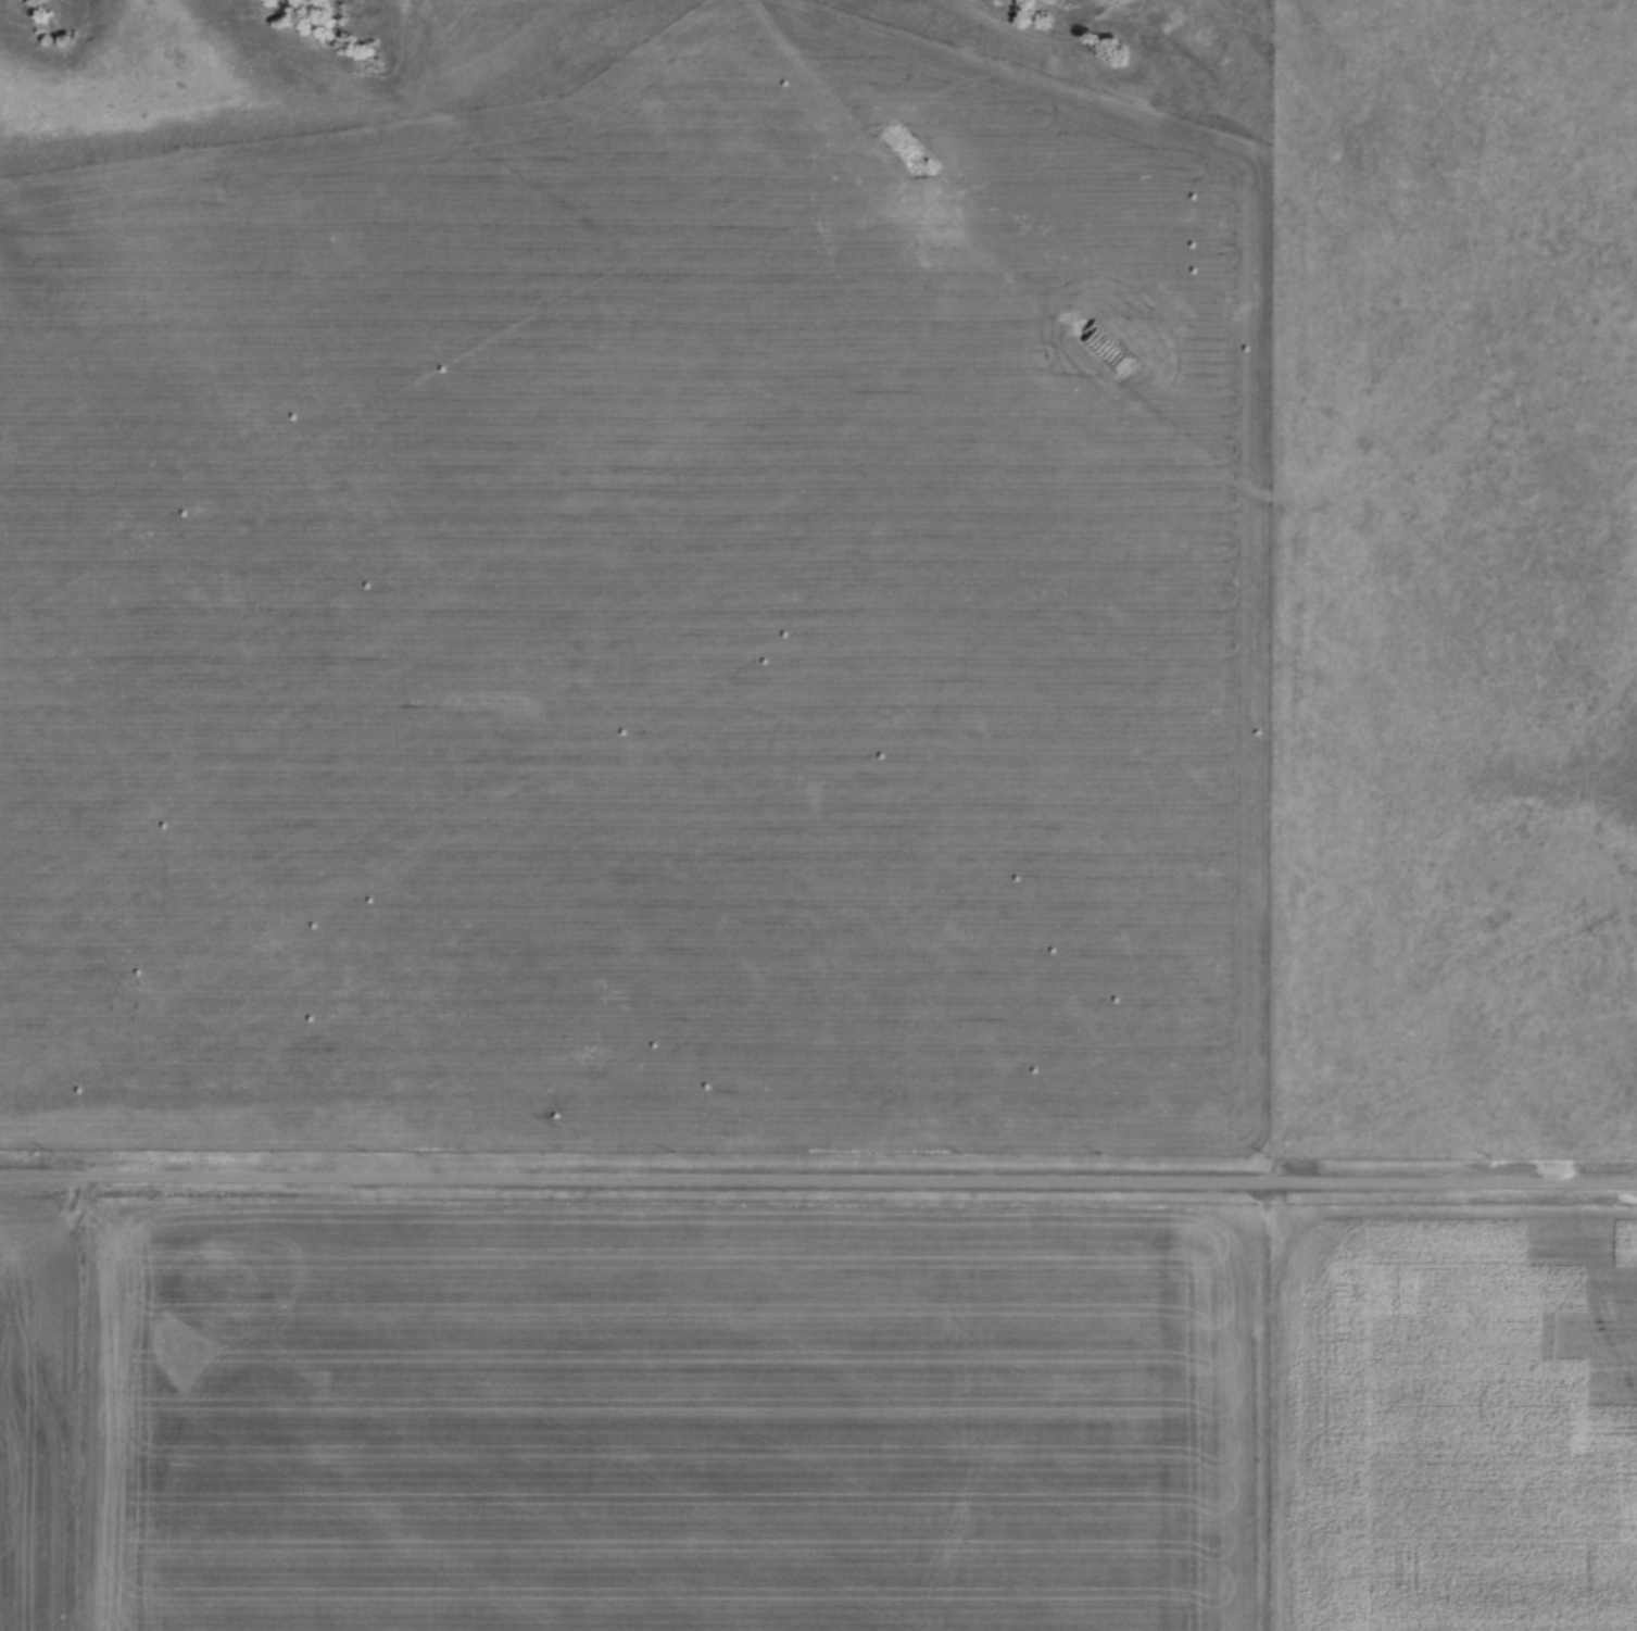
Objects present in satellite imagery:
road: (818, 1228)

